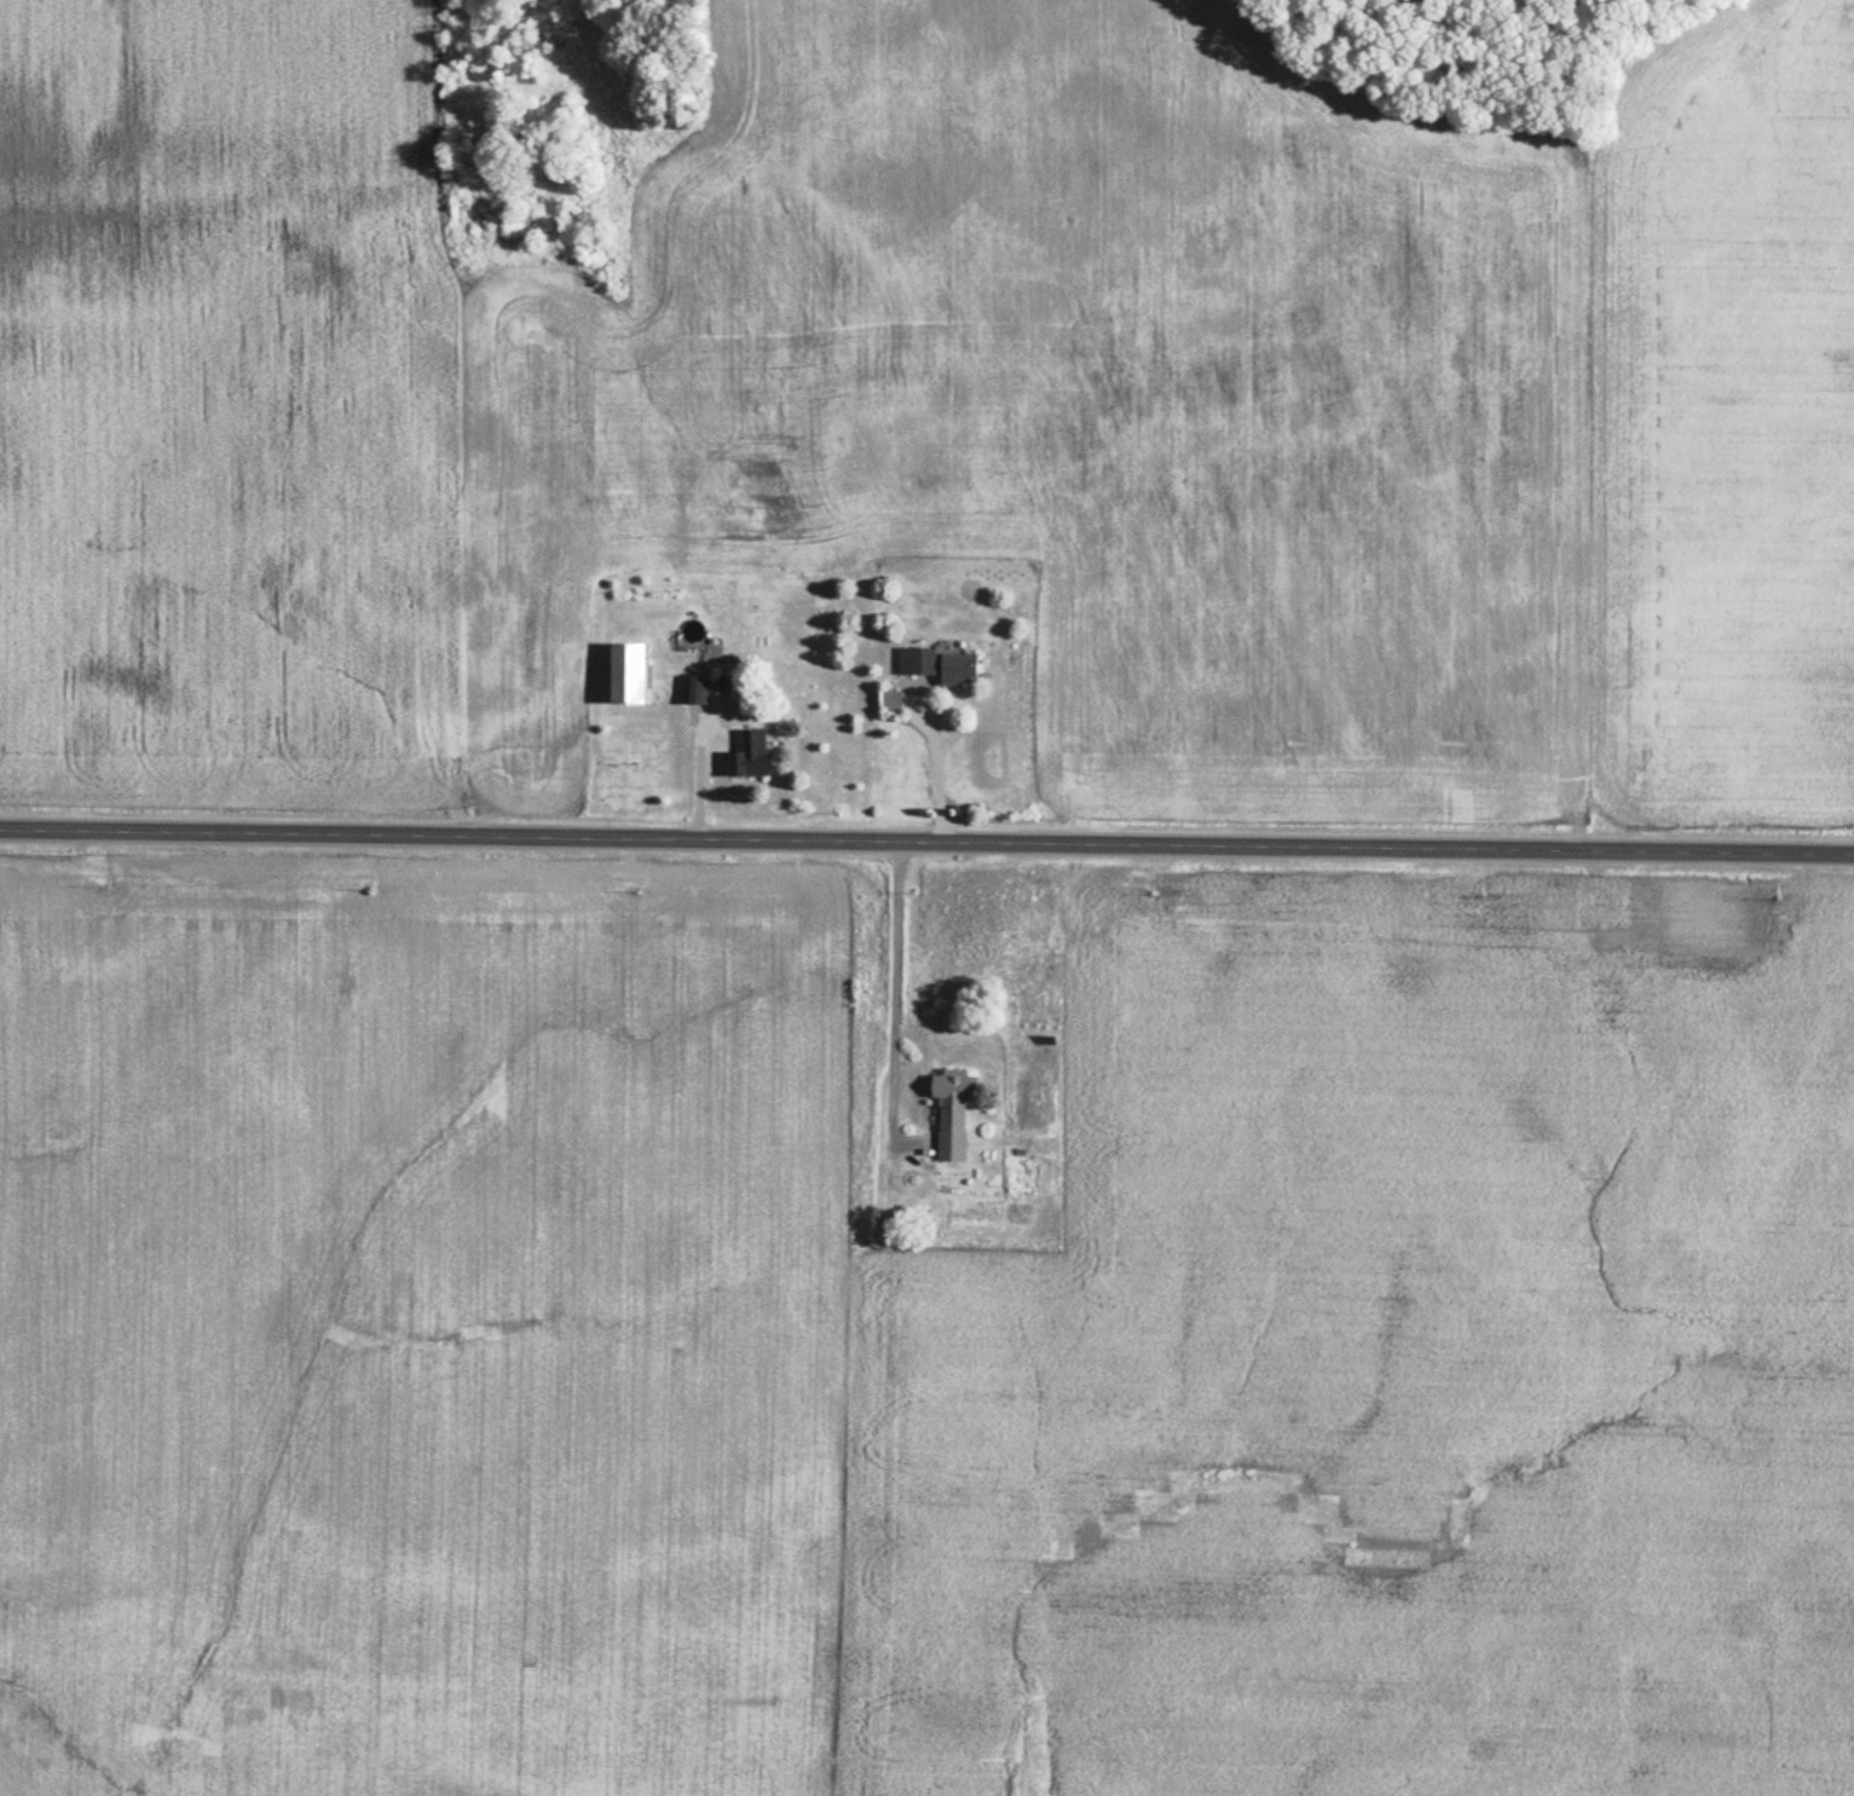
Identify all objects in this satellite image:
building: (943, 665)
building: (634, 672)
building: (699, 688)
building: (752, 751)
road: (937, 764)
road: (701, 772)
road: (926, 842)
road: (899, 989)
building: (957, 1110)

